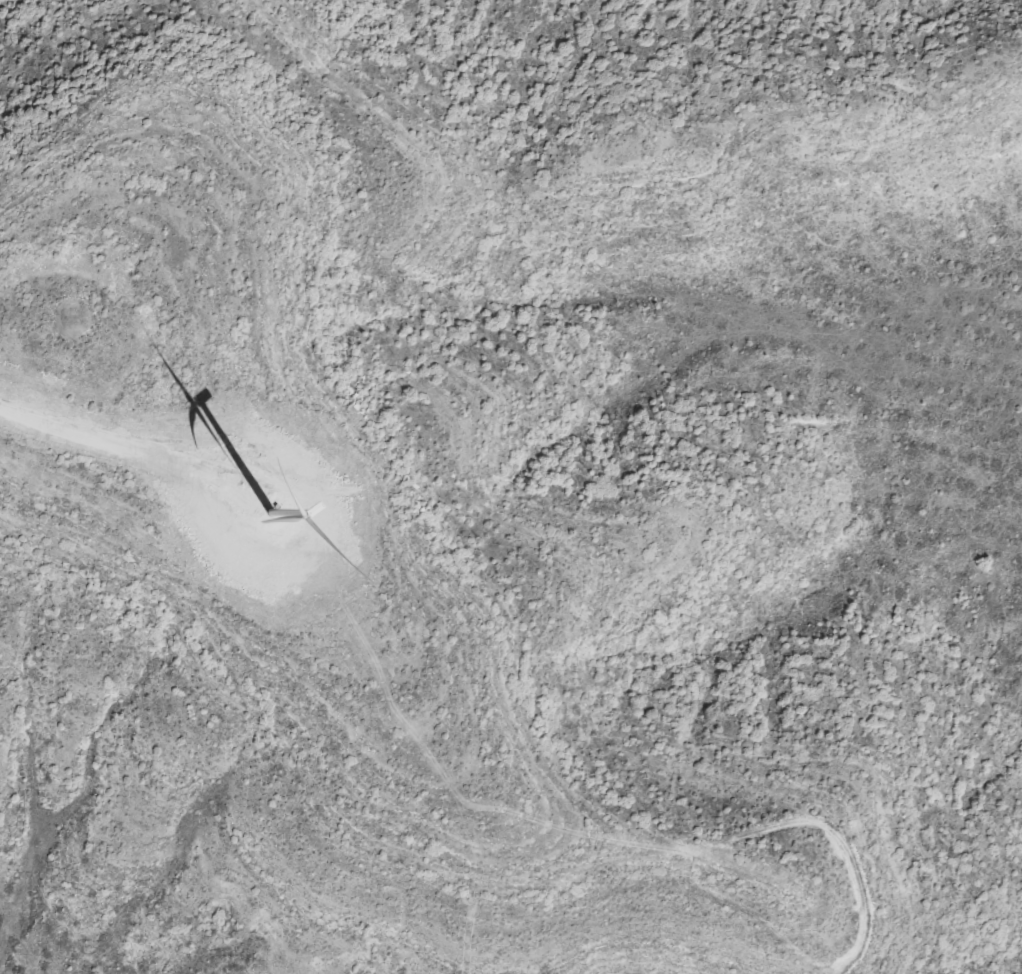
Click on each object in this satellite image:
wind turbine: (256, 510)

